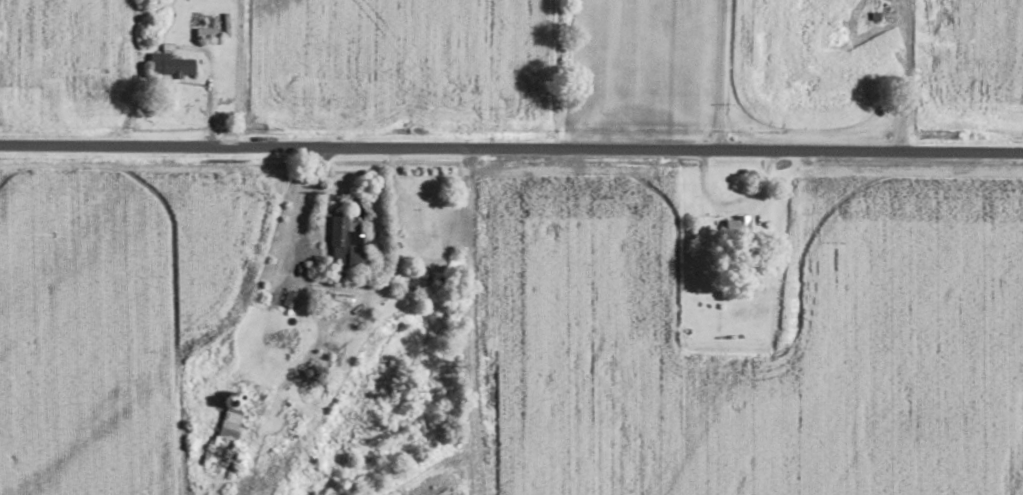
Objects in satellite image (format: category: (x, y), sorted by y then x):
building: (173, 64)
road: (725, 75)
road: (906, 75)
road: (975, 75)
road: (210, 90)
road: (511, 148)
building: (740, 223)
building: (346, 243)
building: (291, 298)
road: (473, 321)
building: (230, 425)

